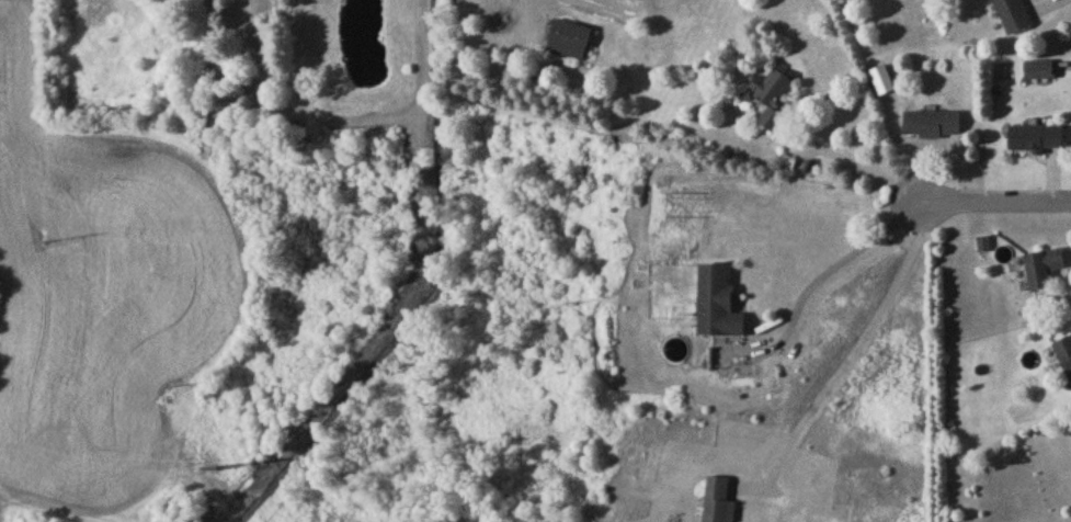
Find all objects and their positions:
building: (1013, 16)
building: (570, 43)
building: (1040, 73)
building: (773, 101)
building: (934, 127)
building: (1037, 141)
road: (862, 167)
road: (996, 205)
building: (1044, 271)
road: (824, 277)
building: (719, 307)
road: (858, 350)
building: (1066, 356)
power tower: (215, 469)
road: (37, 501)
building: (719, 501)

